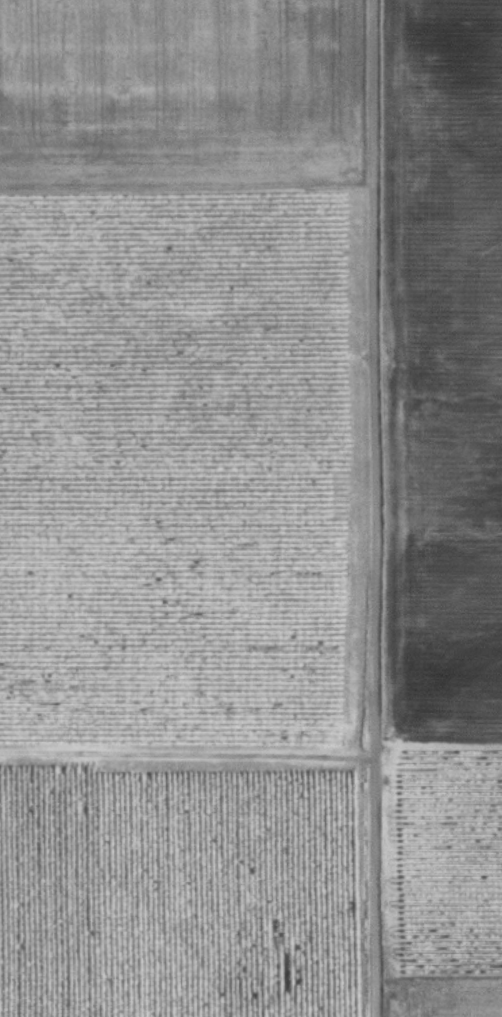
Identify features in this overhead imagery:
road: (379, 508)

